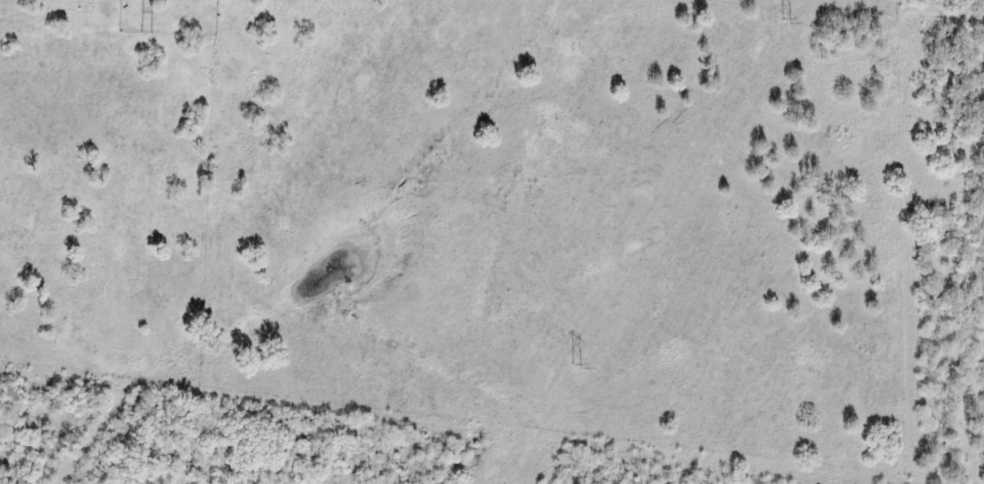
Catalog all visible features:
power tower: (793, 17)
power tower: (577, 367)

